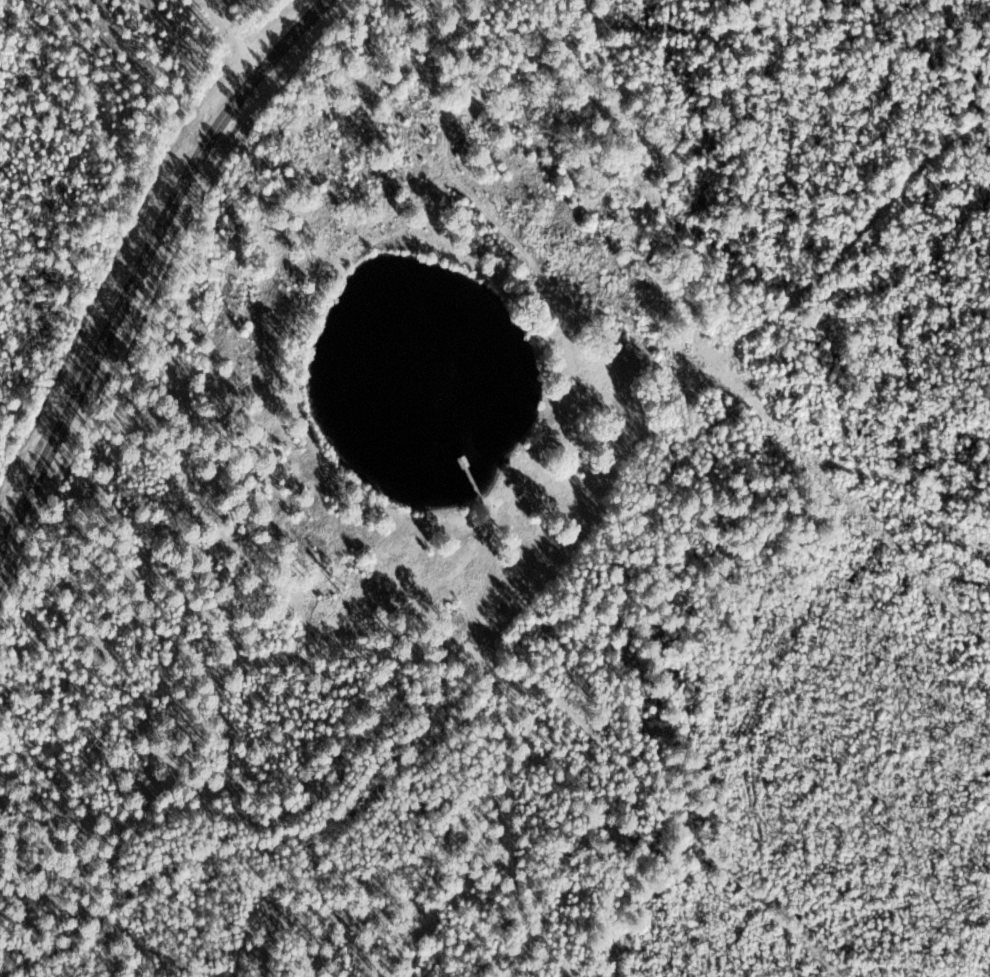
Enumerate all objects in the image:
road: (242, 31)
road: (150, 268)

